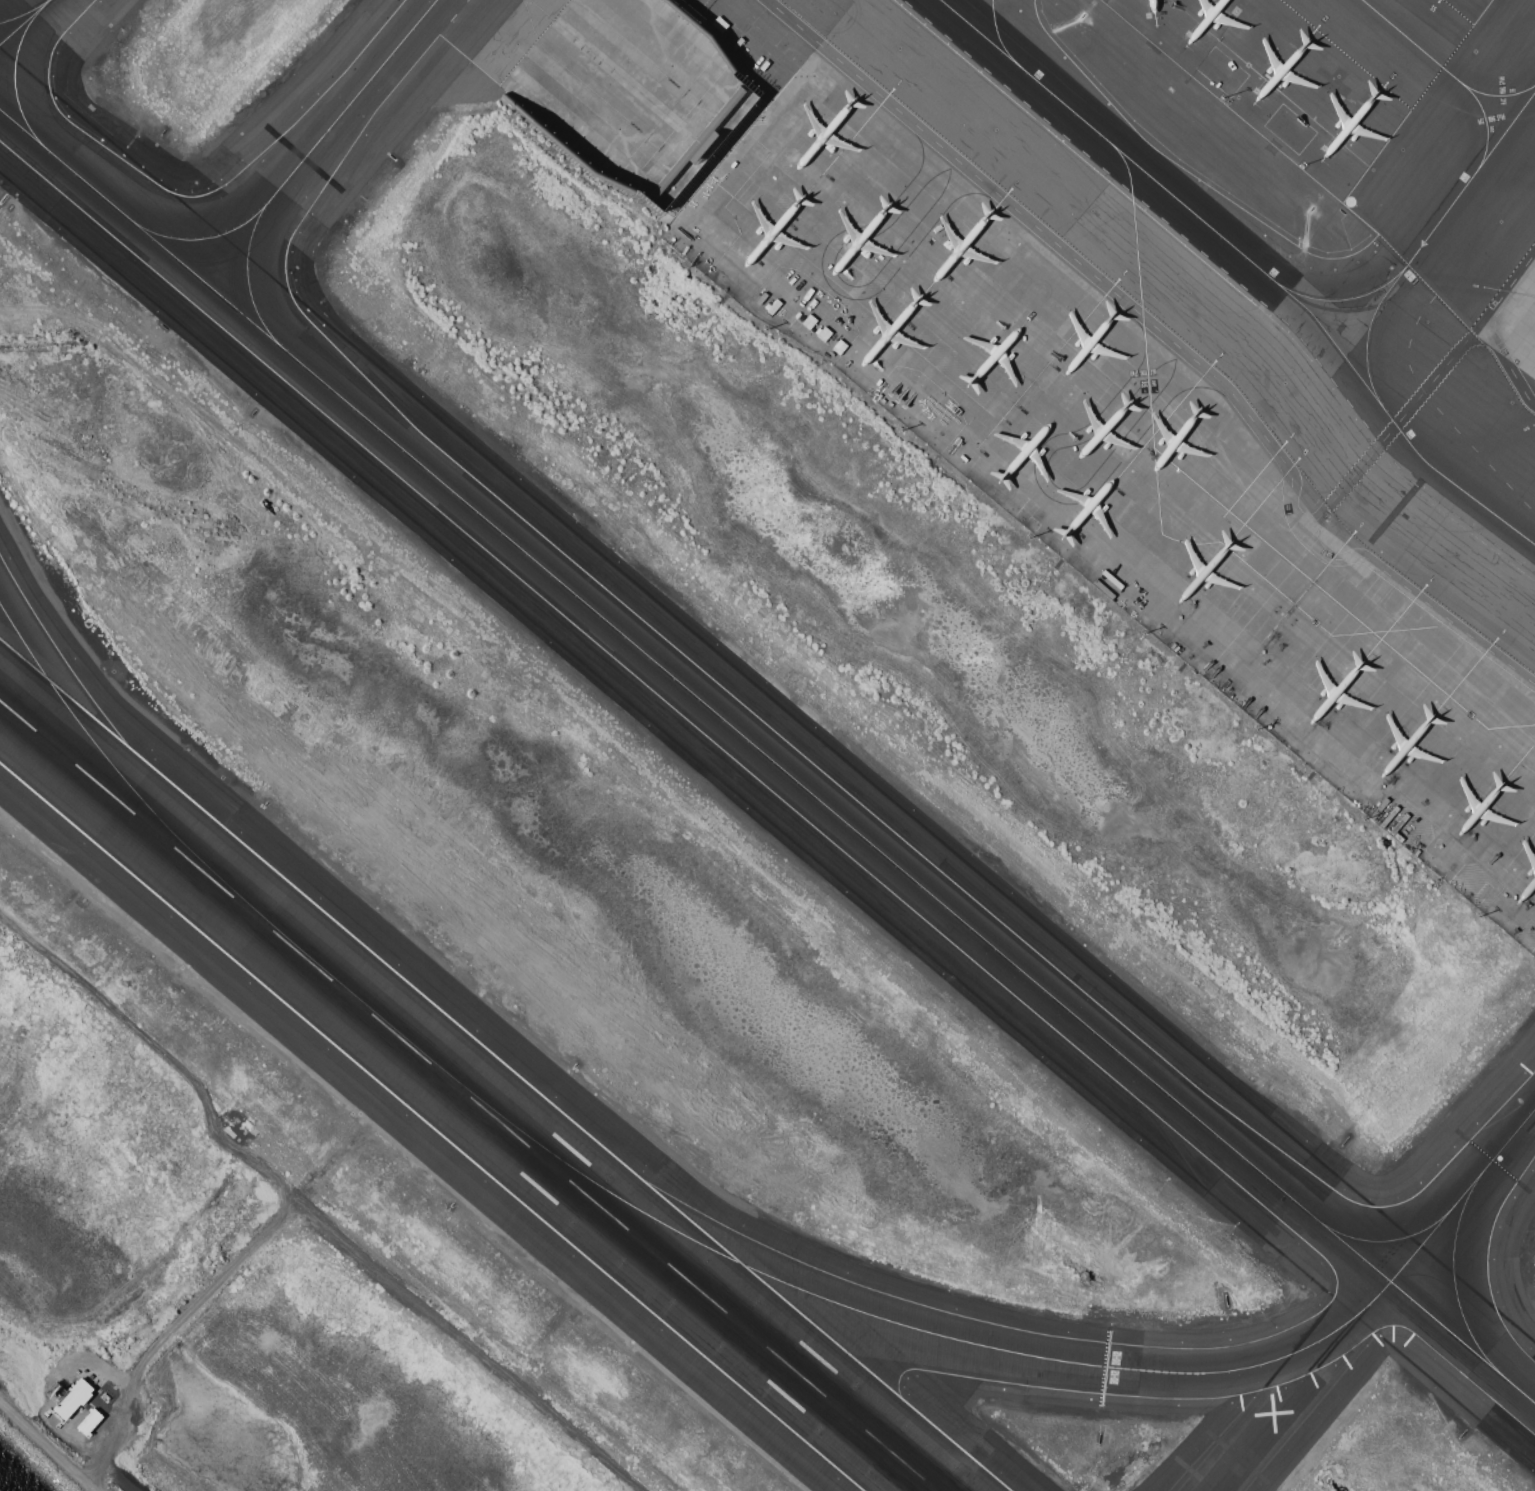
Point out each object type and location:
airport taxiway: (25, 13)
airport taxiway: (24, 22)
airport taxiway: (1002, 39)
airport taxiway: (1413, 42)
airport taxiway: (14, 81)
airport taxiway: (1498, 95)
airport taxiway: (351, 102)
airport taxiway: (1486, 124)
airport taxiway: (1470, 179)
airport taxiway: (201, 239)
road: (1061, 248)
airport taxiway: (1250, 261)
airport taxiway: (247, 281)
road: (834, 282)
airport taxiway: (1343, 299)
airport apron: (1515, 324)
road: (1484, 325)
airport taxiway: (1367, 334)
airport apron: (1053, 404)
road: (1392, 426)
road: (1046, 488)
road: (1420, 597)
airport: (768, 744)
airport taxiway: (767, 757)
airport taxiway: (131, 787)
airport runway: (468, 1095)
airport taxiway: (1462, 1194)
airport taxiway: (1383, 1240)
airport taxiway: (1453, 1276)
airport taxiway: (895, 1322)
building: (74, 1398)
building: (91, 1421)

